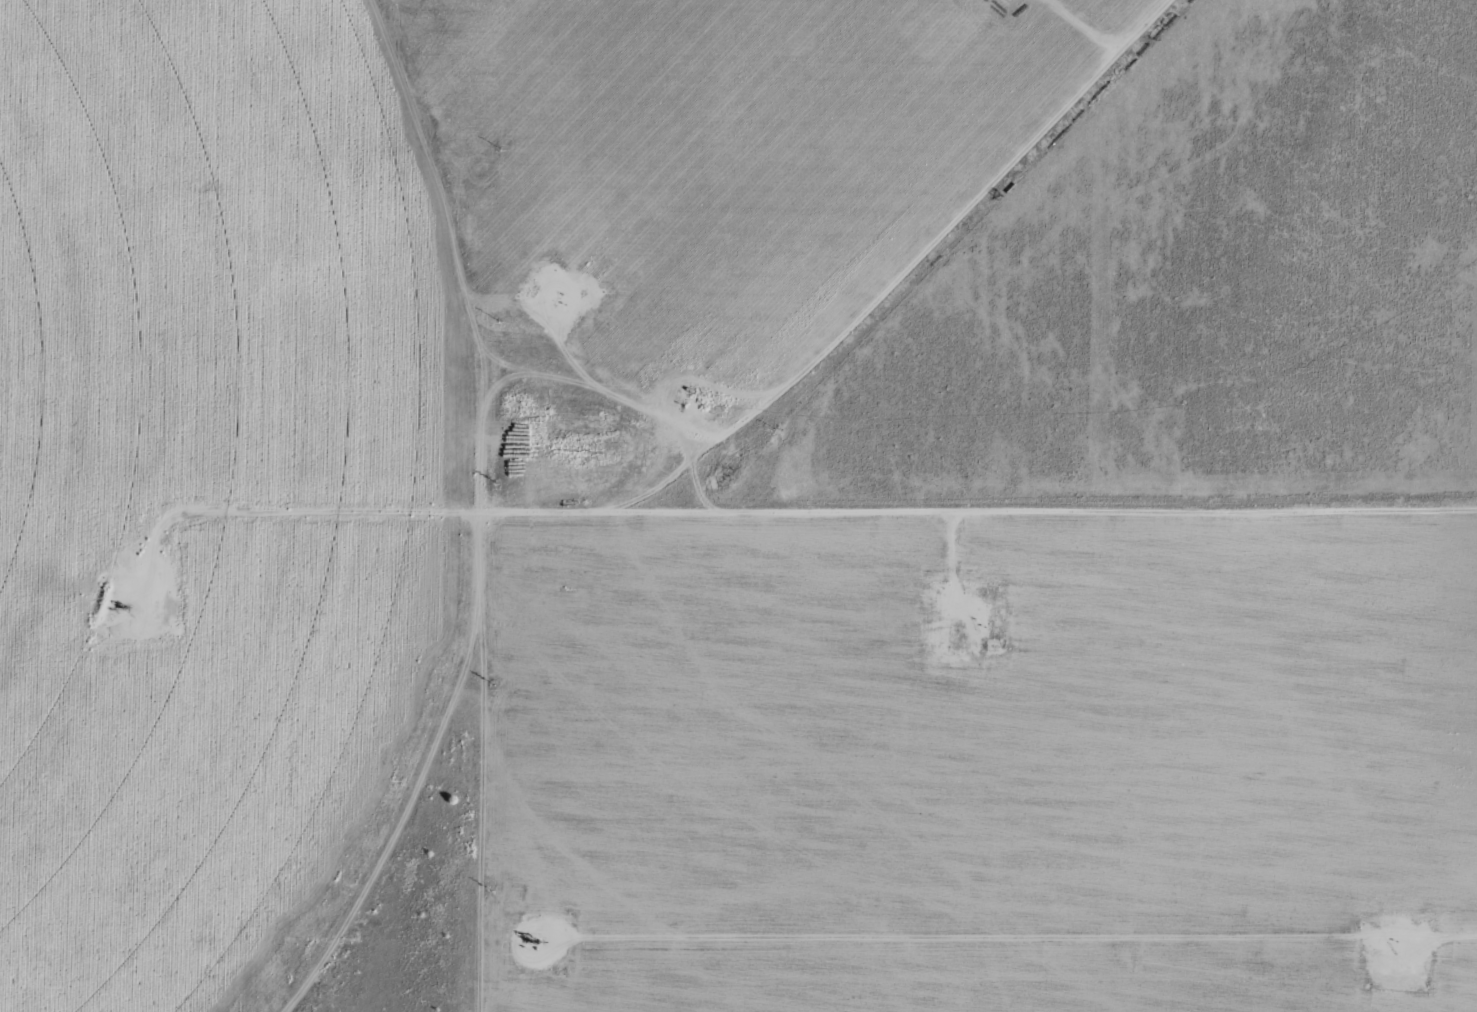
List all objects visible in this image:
road: (767, 484)
petroleum well: (127, 610)
petroleum well: (531, 942)

